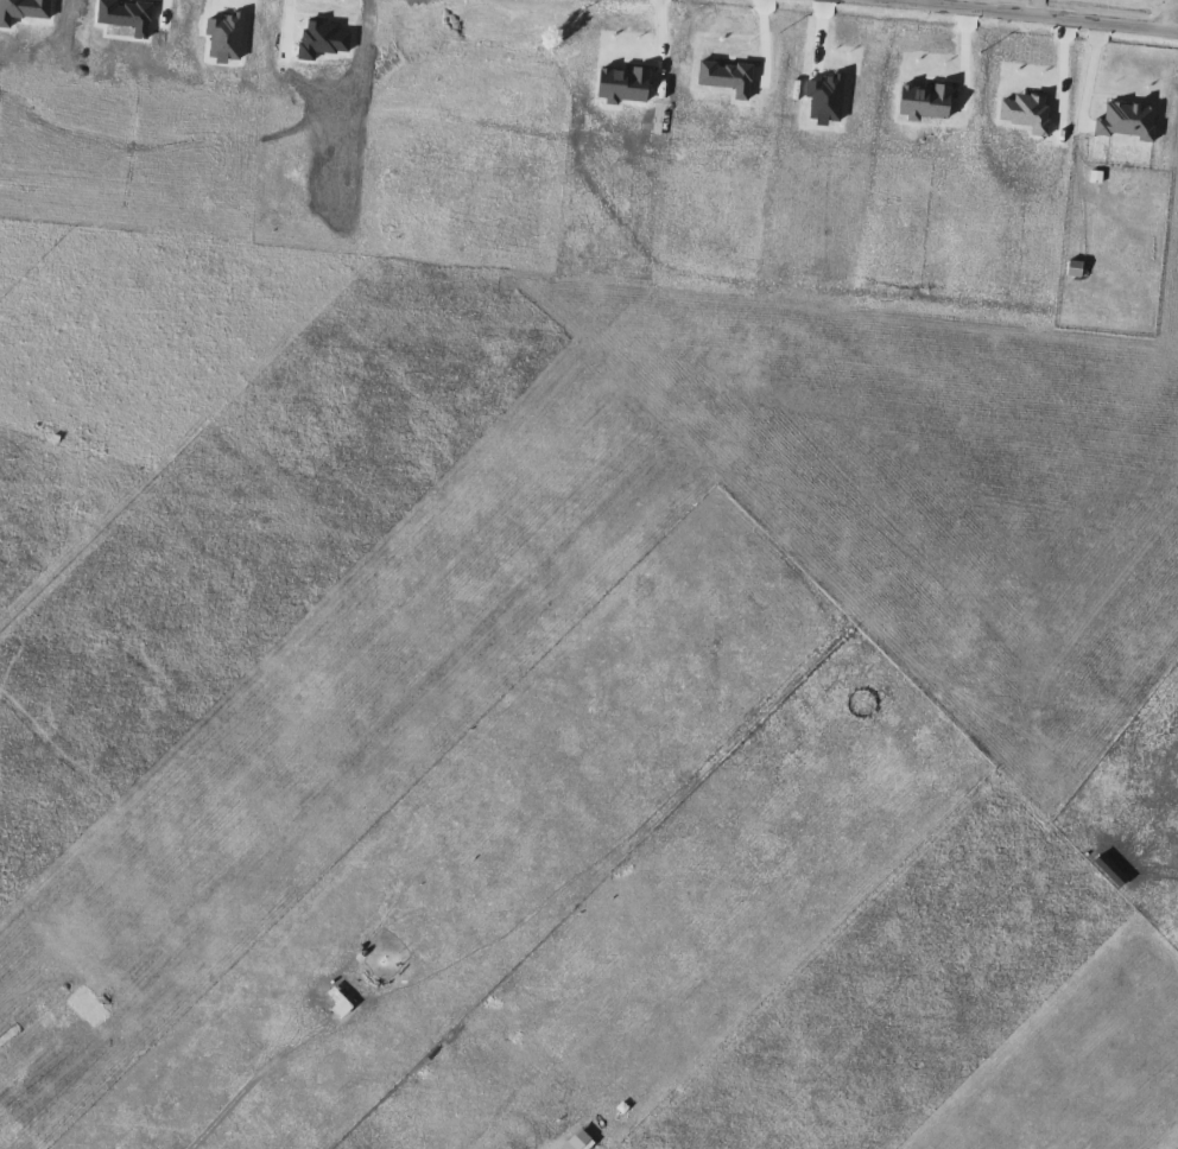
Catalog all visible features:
road: (1000, 18)
road: (1163, 19)
building: (109, 526)
building: (778, 668)
building: (201, 802)
building: (705, 819)

